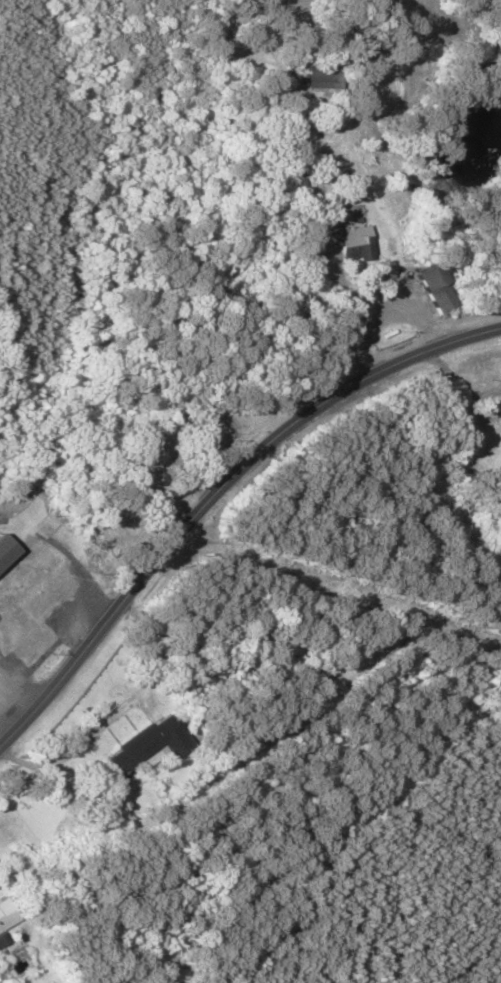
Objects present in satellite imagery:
building: (314, 79)
building: (350, 244)
road: (316, 249)
building: (421, 288)
building: (482, 418)
building: (140, 463)
road: (217, 491)
building: (5, 551)
building: (39, 608)
building: (142, 746)
building: (4, 915)

